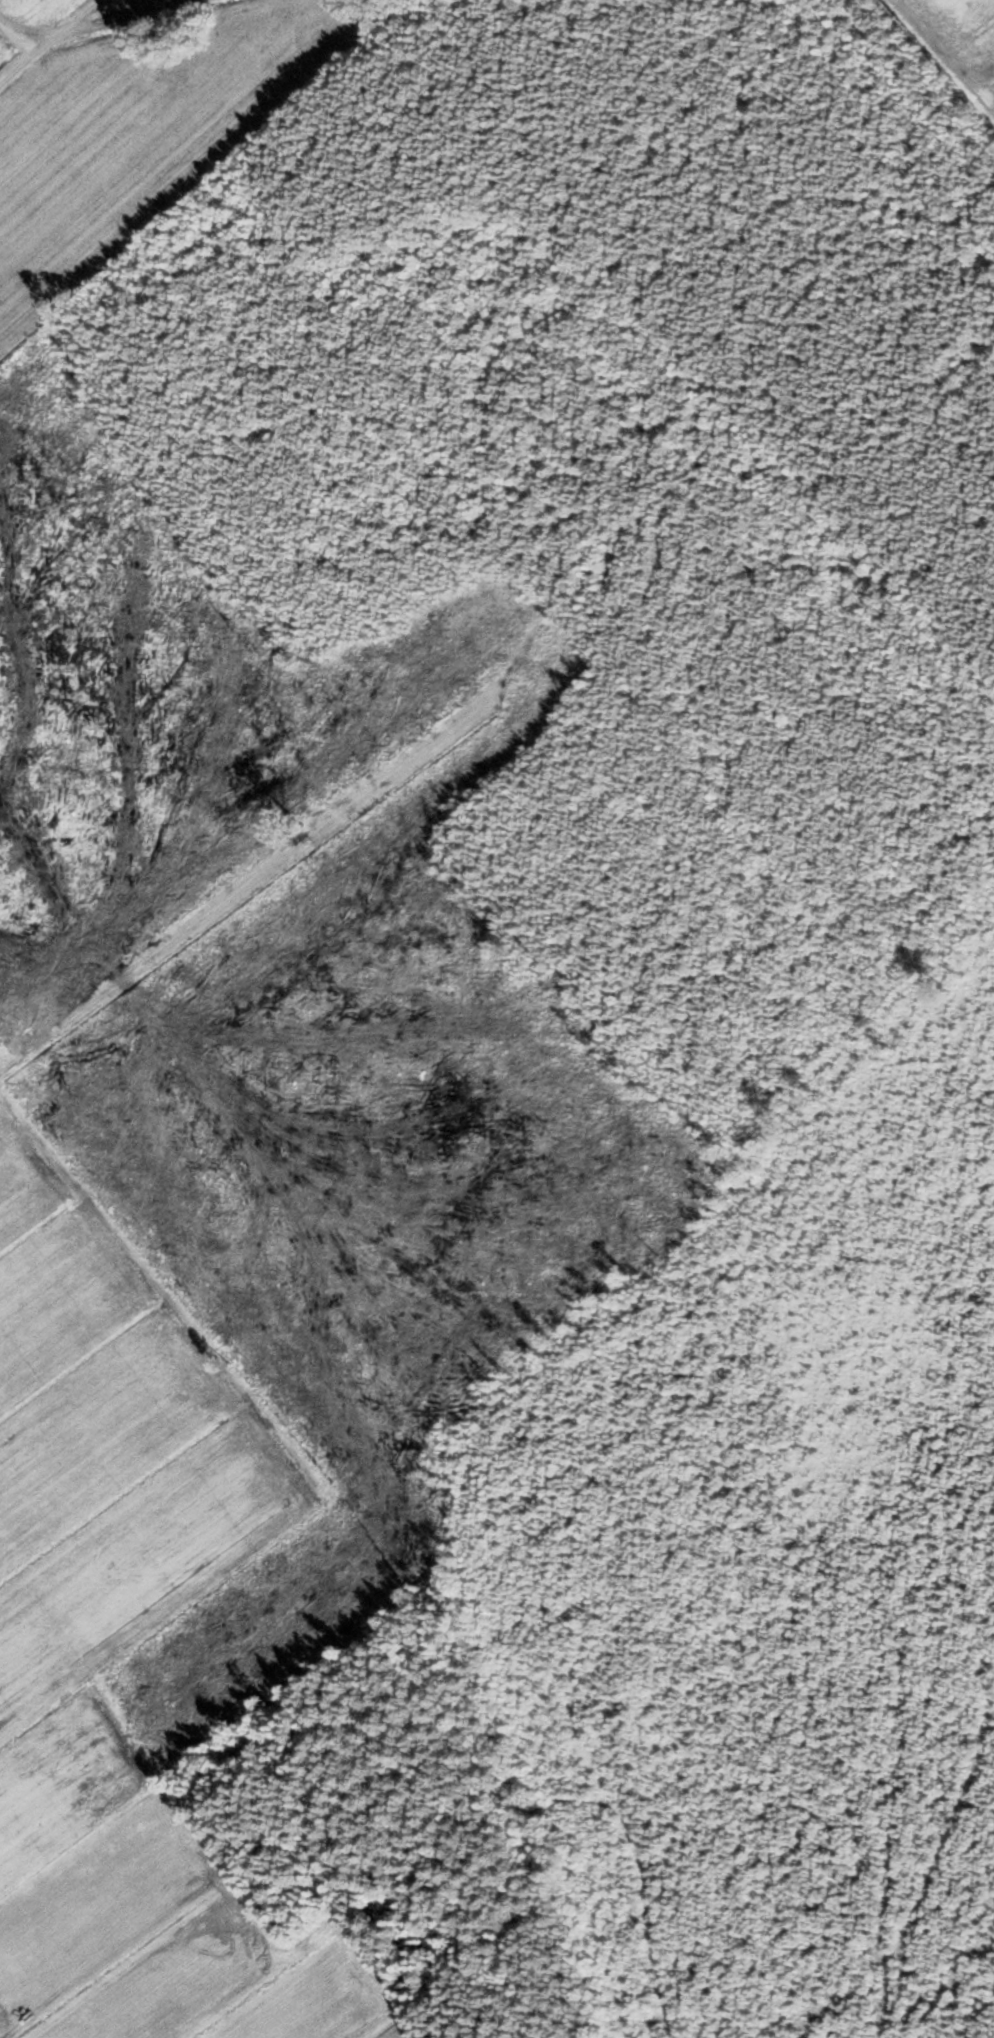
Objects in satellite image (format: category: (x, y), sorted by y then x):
road: (20, 32)
road: (48, 41)

